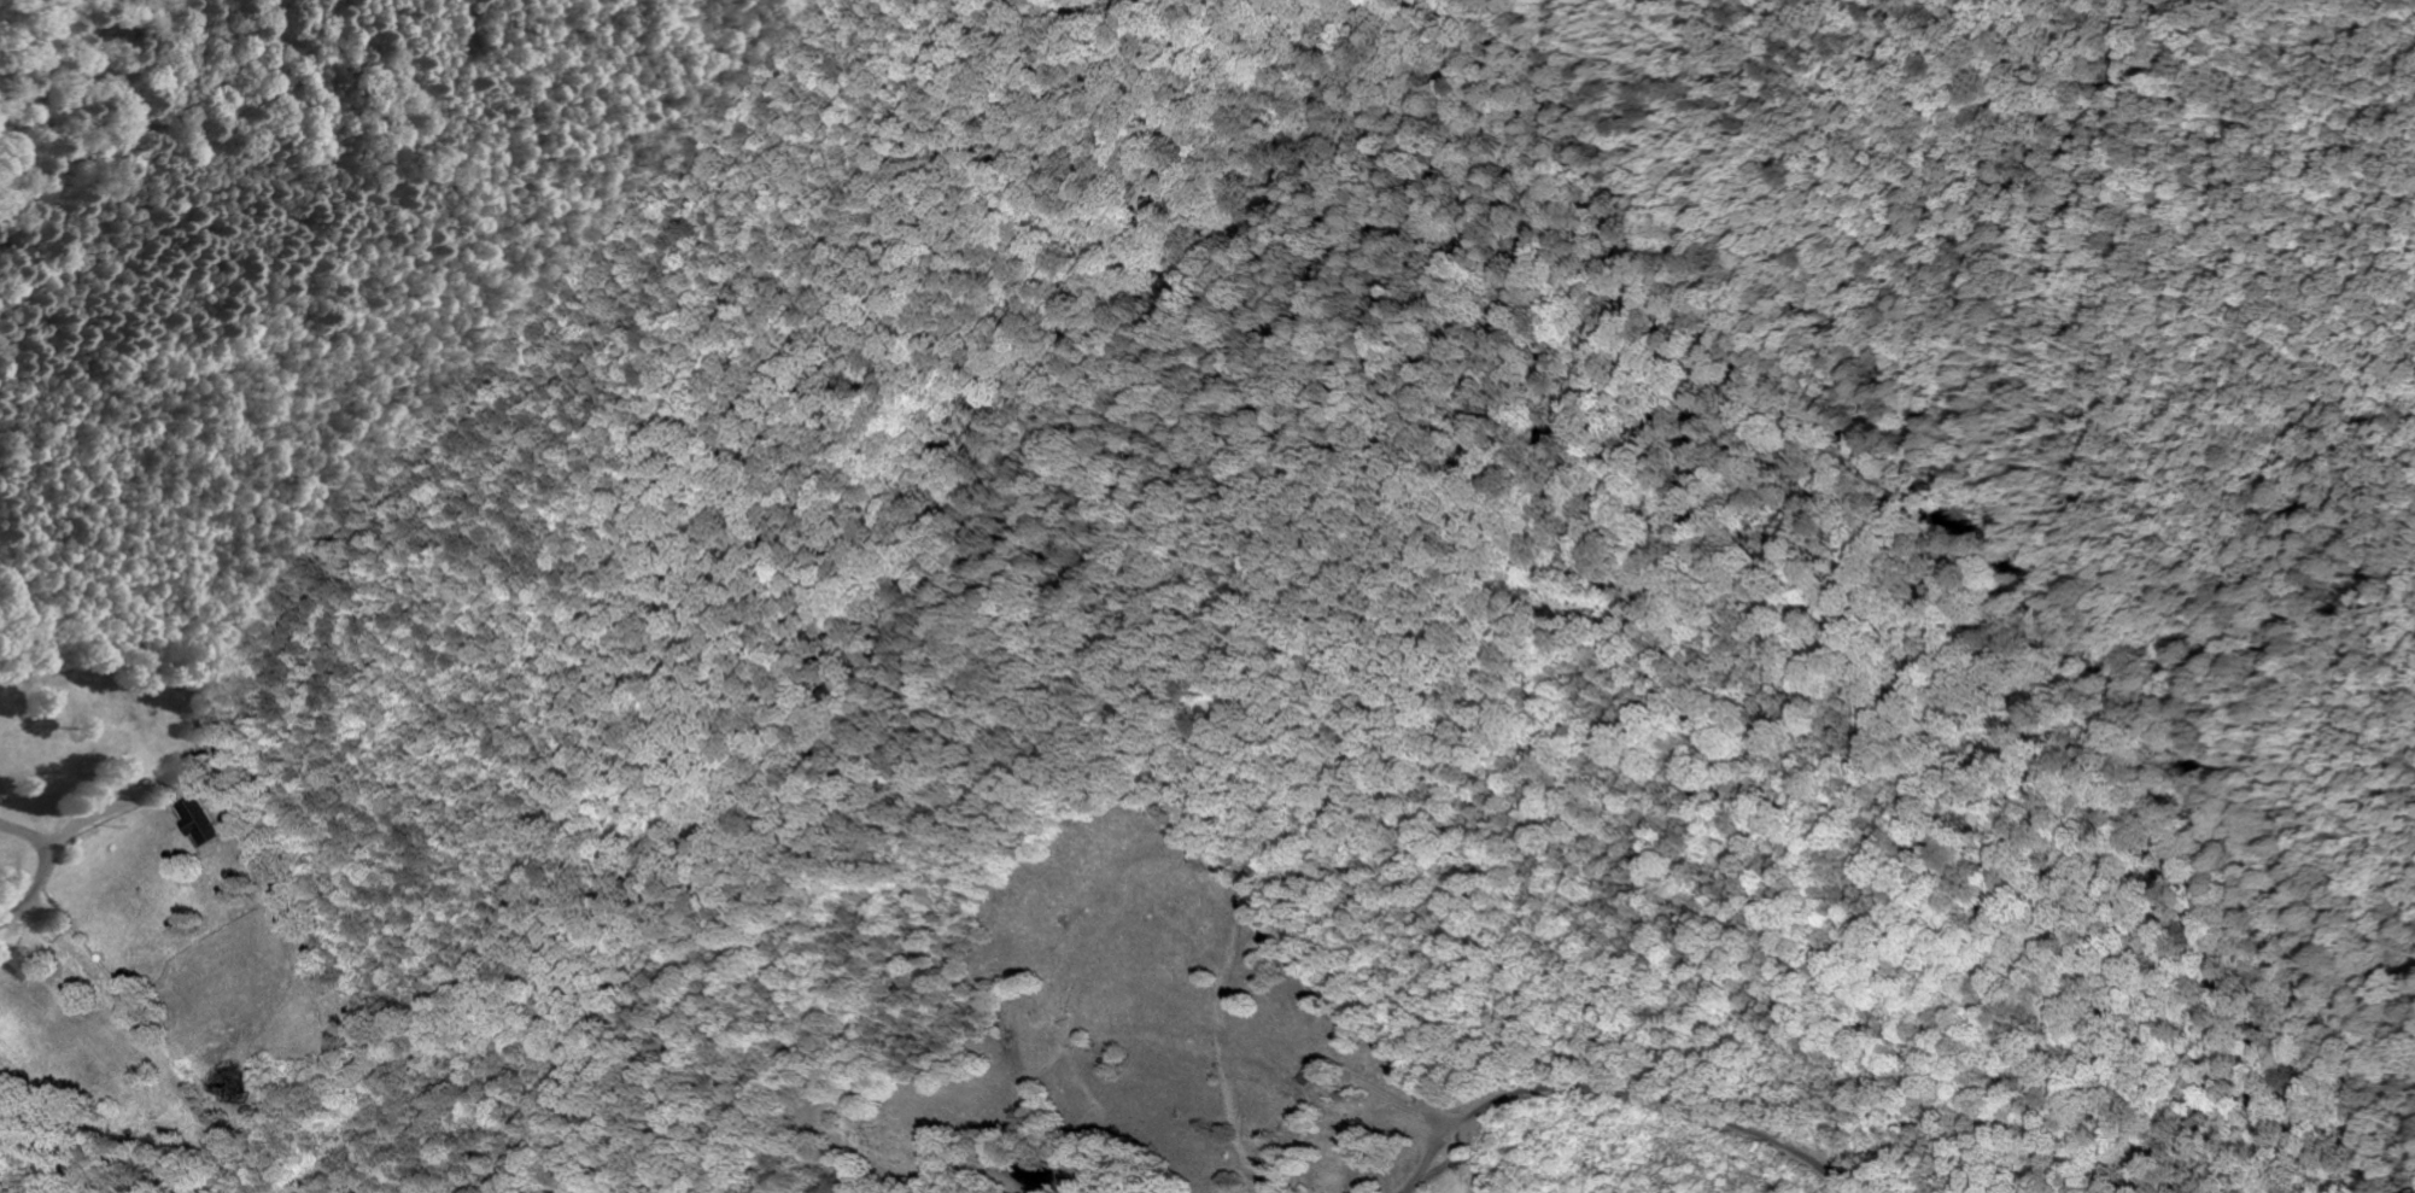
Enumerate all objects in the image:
building: (195, 820)
road: (23, 901)
road: (1586, 1092)

